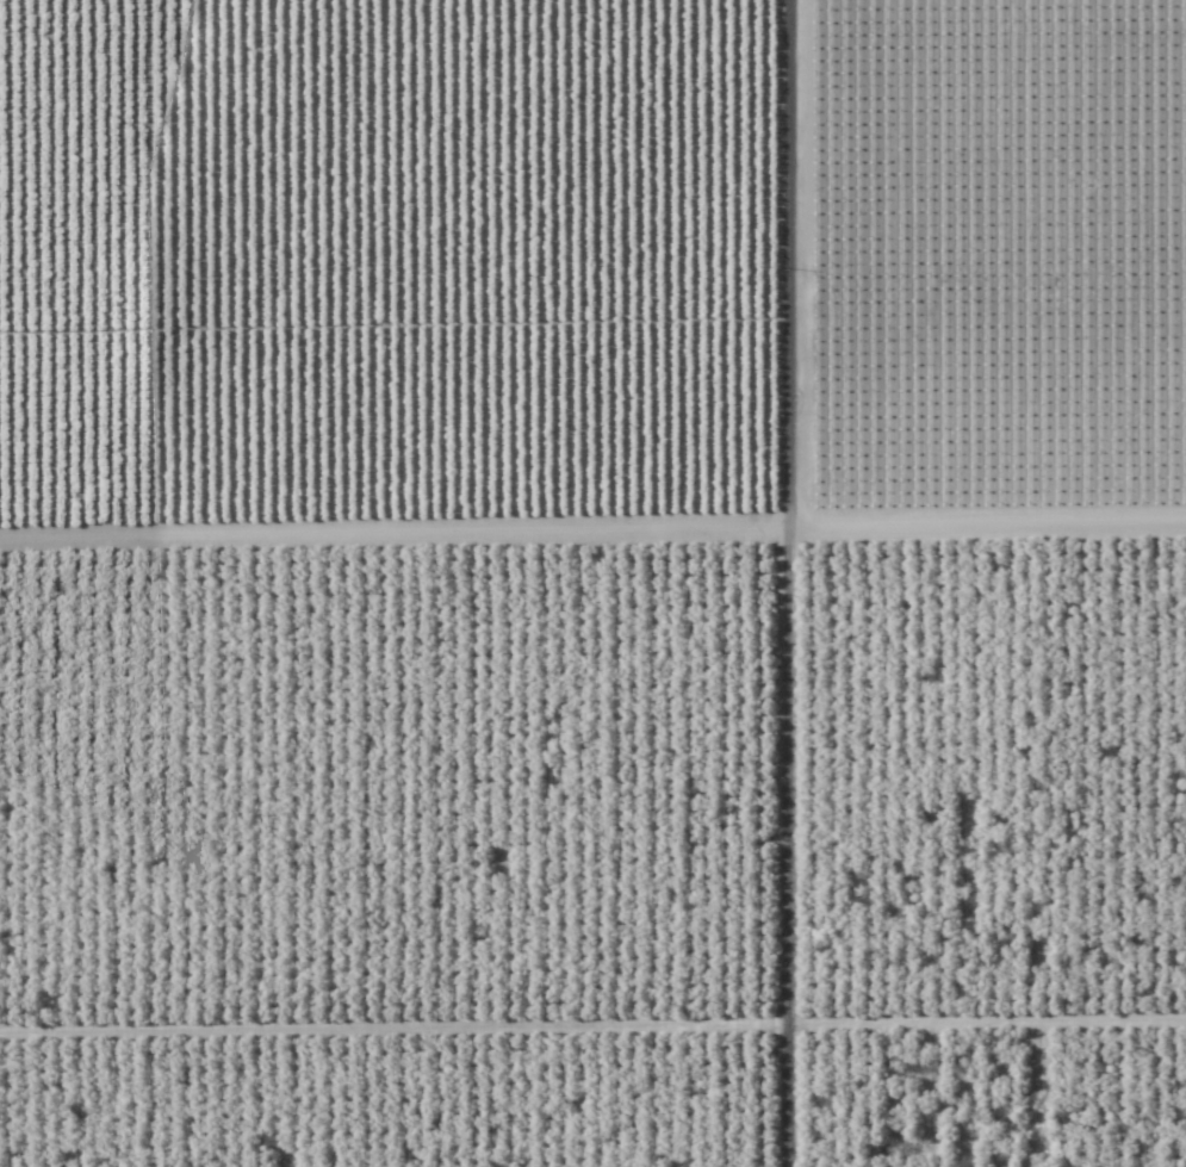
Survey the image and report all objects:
road: (772, 583)

